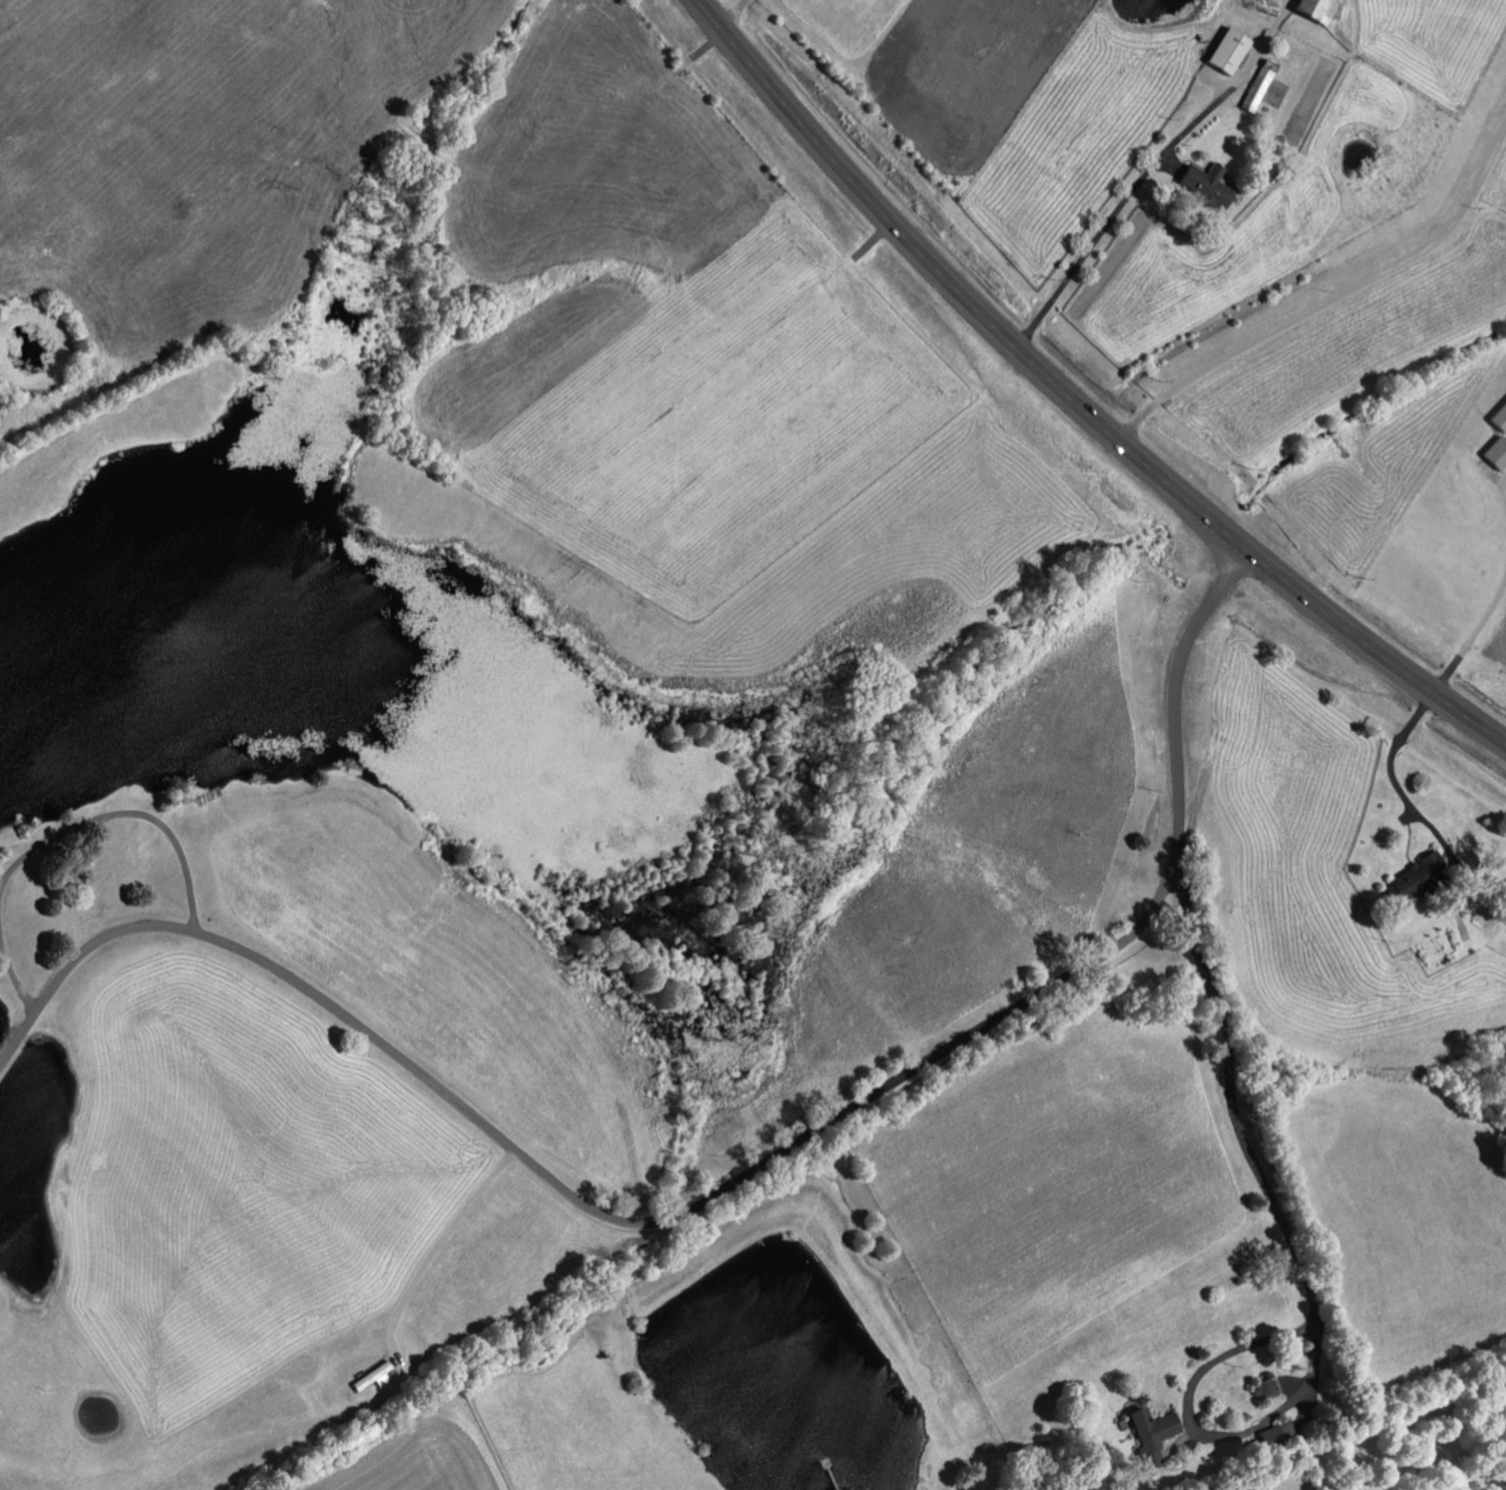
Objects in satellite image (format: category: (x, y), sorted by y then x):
building: (1312, 10)
building: (1226, 52)
building: (1257, 86)
building: (1203, 185)
road: (1074, 399)
building: (1499, 416)
building: (1496, 452)
road: (124, 803)
building: (1413, 876)
road: (16, 975)
road: (1302, 1122)
road: (747, 1177)
building: (373, 1376)
building: (1266, 1386)
building: (1154, 1428)

